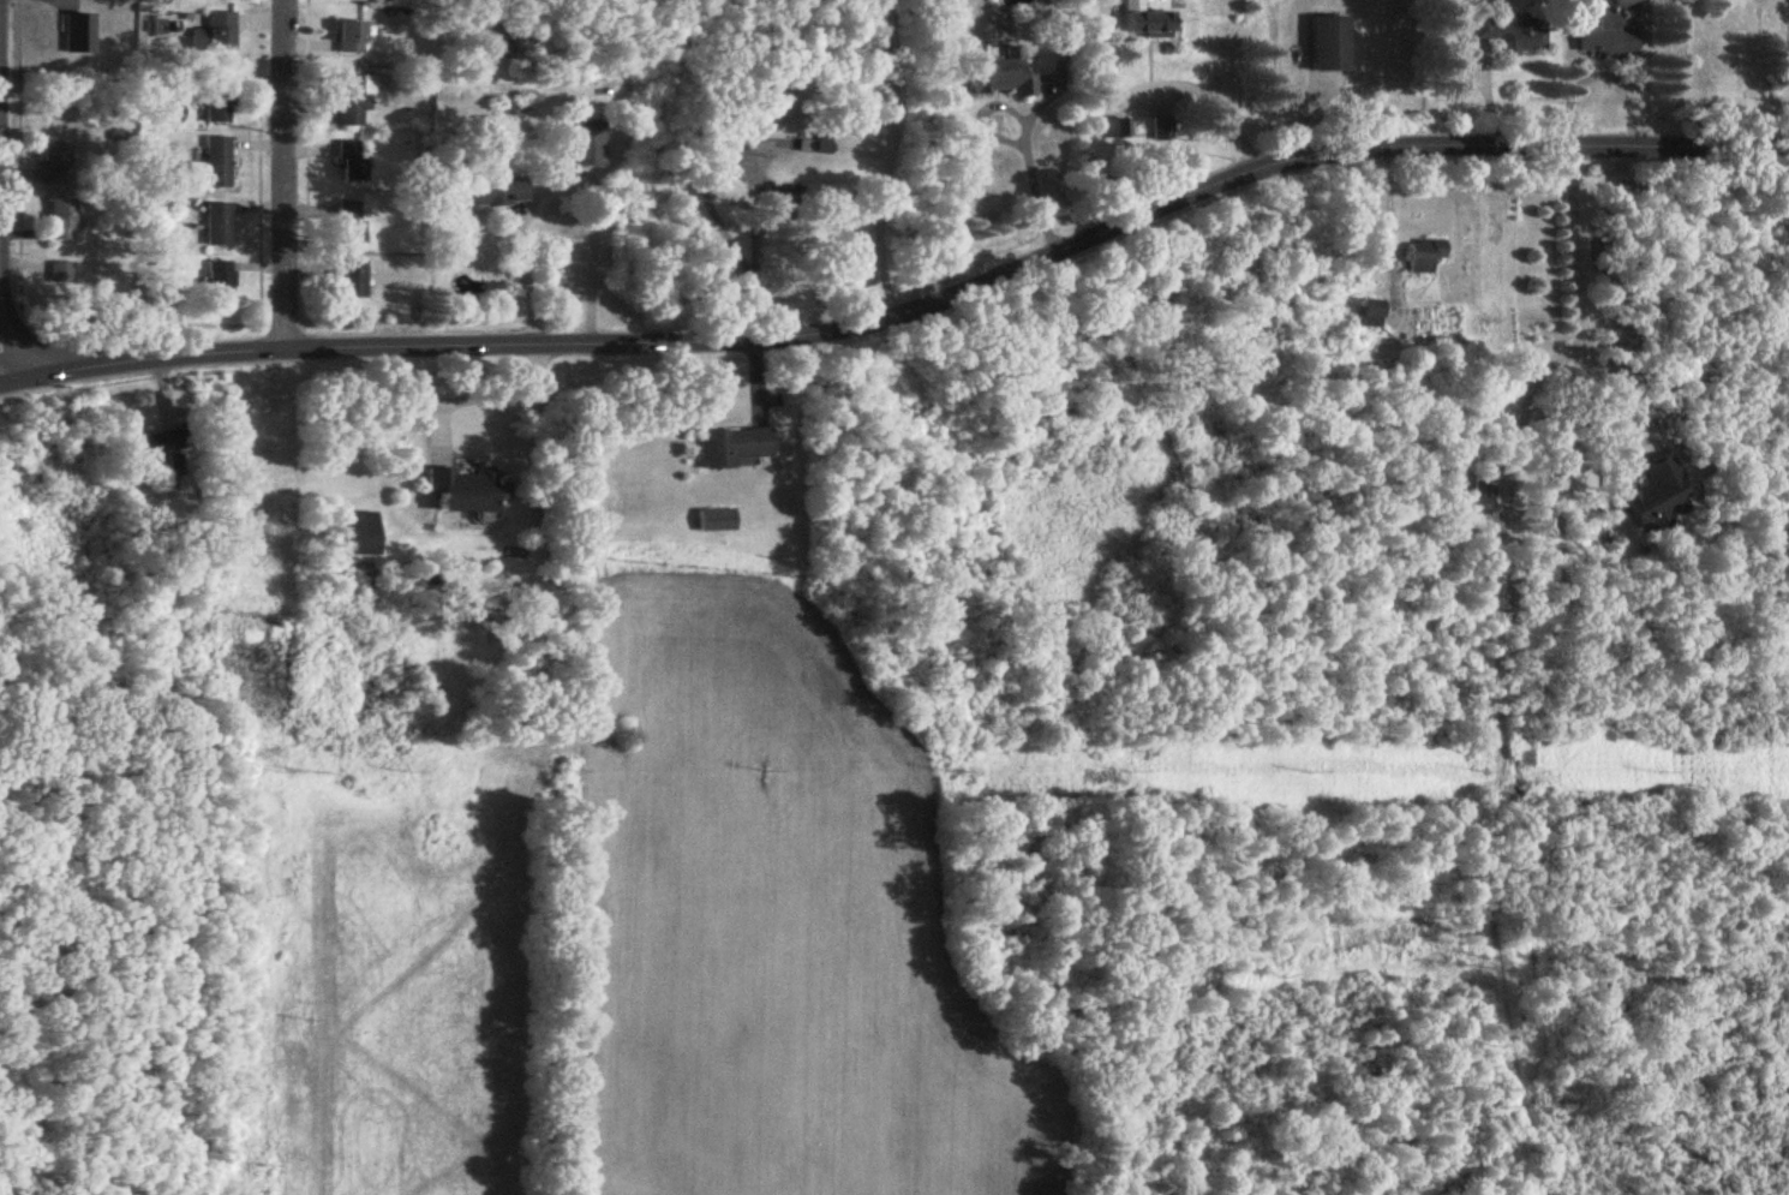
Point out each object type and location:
building: (1148, 24)
building: (219, 31)
building: (1605, 31)
building: (78, 36)
building: (1515, 36)
building: (349, 37)
building: (1330, 44)
road: (1606, 68)
building: (1003, 74)
road: (1677, 76)
road: (1216, 98)
building: (217, 101)
building: (352, 101)
building: (1113, 129)
building: (1162, 129)
road: (1023, 135)
building: (813, 142)
building: (586, 143)
road: (886, 159)
building: (55, 162)
building: (217, 162)
building: (353, 162)
road: (286, 175)
building: (499, 191)
building: (60, 220)
building: (351, 223)
building: (219, 226)
road: (1390, 228)
building: (1424, 256)
building: (61, 273)
road: (526, 276)
building: (351, 280)
building: (220, 282)
road: (1581, 295)
road: (907, 313)
road: (5, 358)
road: (475, 393)
building: (155, 449)
building: (735, 449)
building: (1480, 485)
building: (462, 491)
building: (1658, 496)
building: (714, 521)
building: (358, 534)

